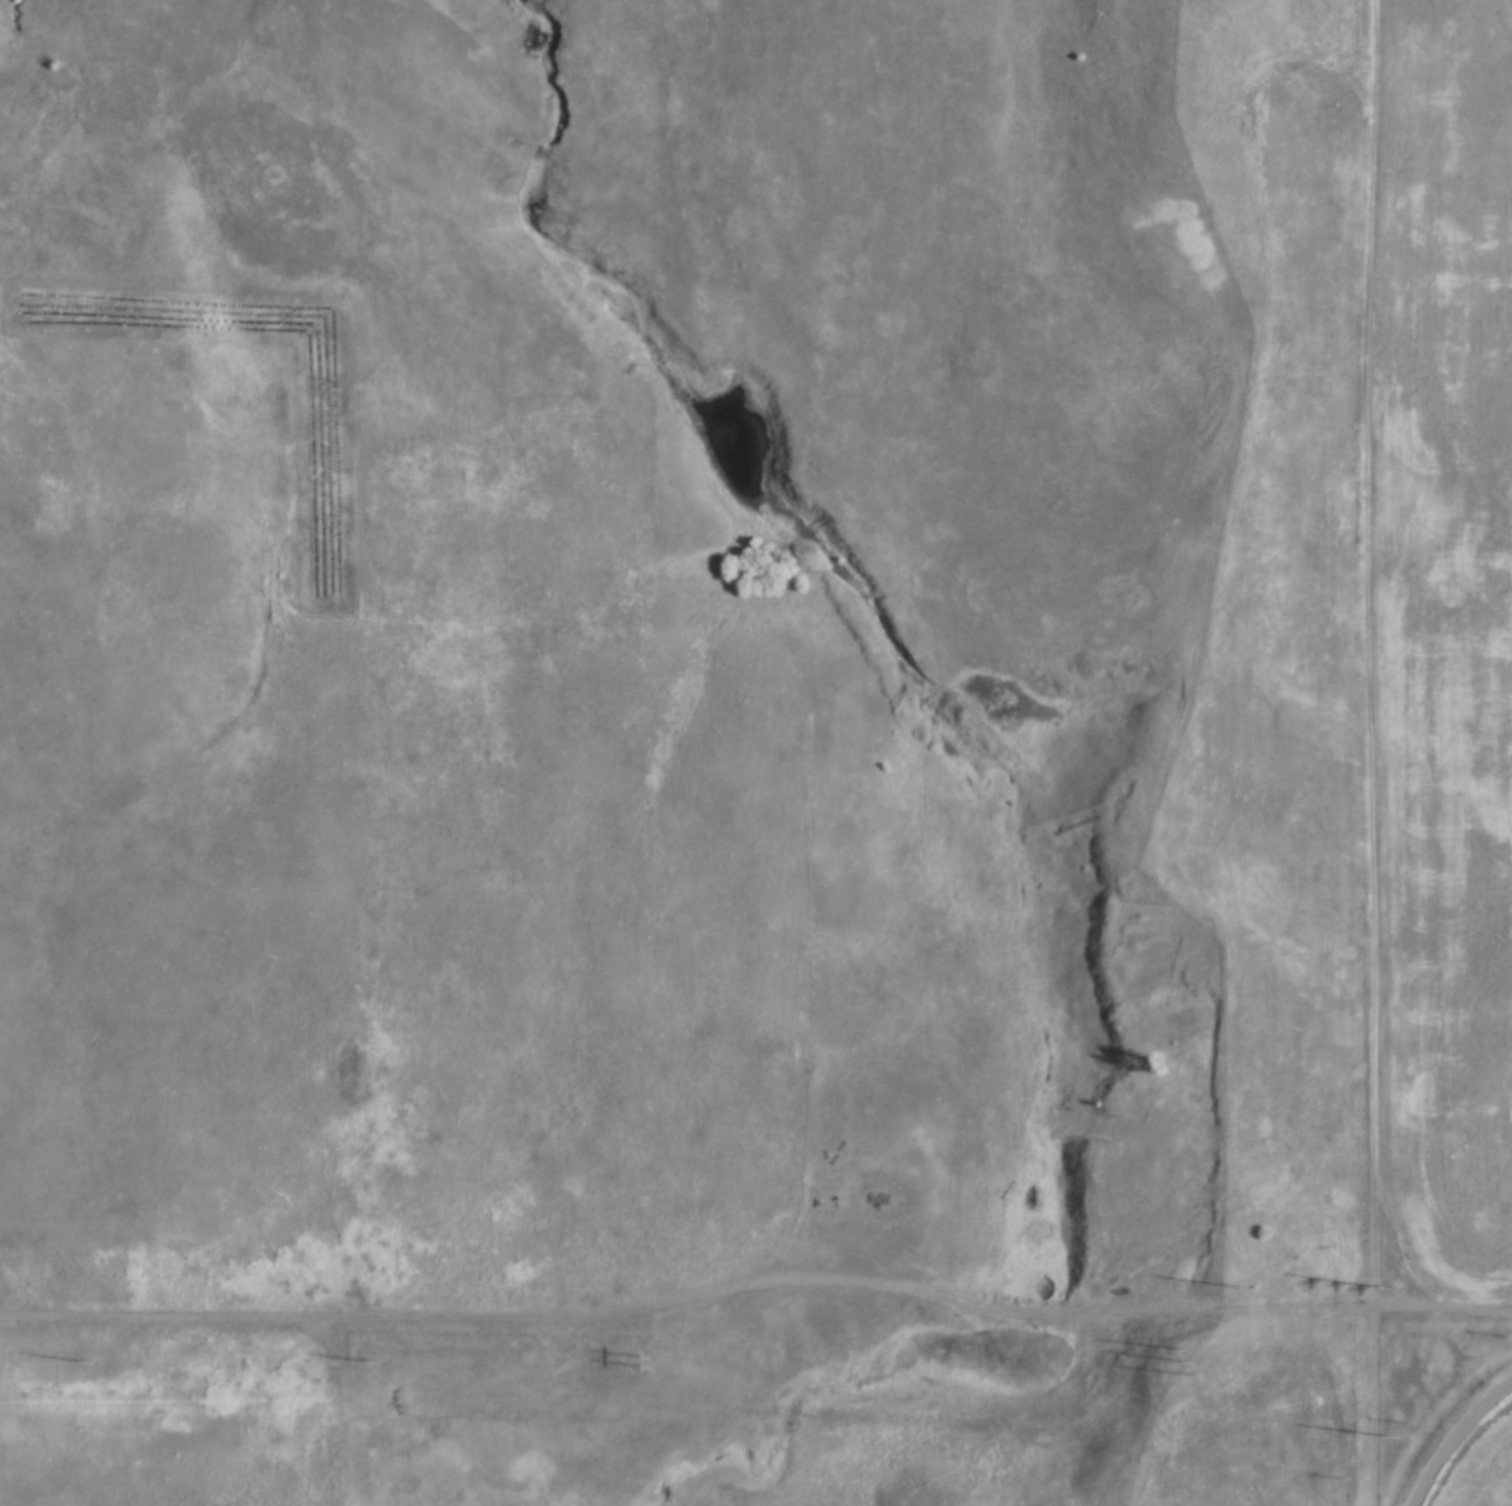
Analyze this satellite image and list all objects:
road: (153, 234)
road: (806, 666)
road: (1367, 753)
road: (357, 832)
road: (929, 1289)
road: (174, 1318)
road: (1454, 1436)

